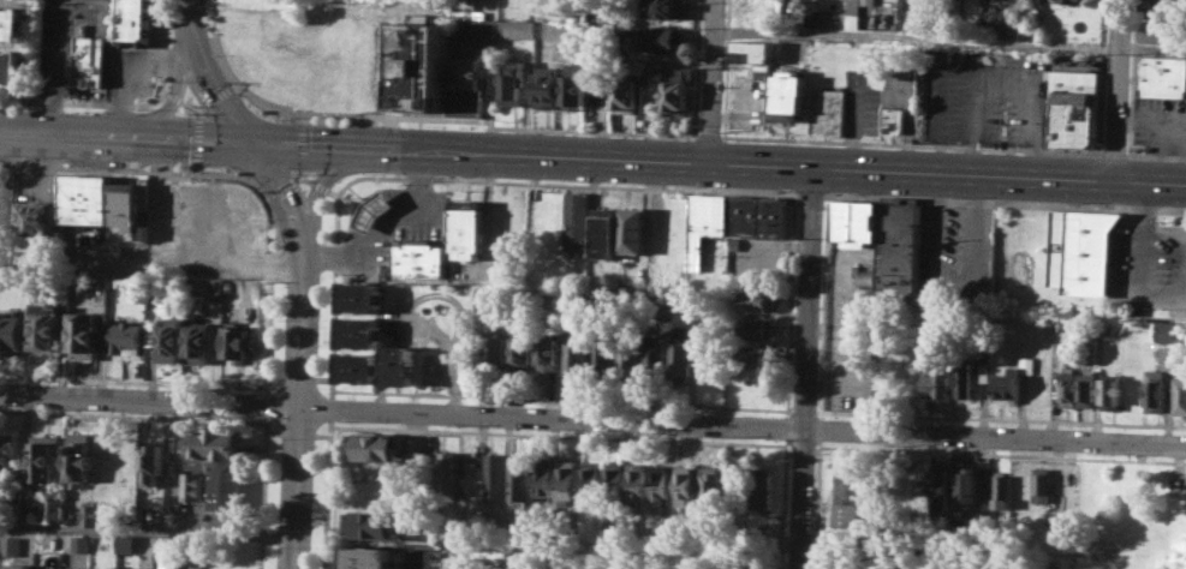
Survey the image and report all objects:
road: (88, 1)
building: (1073, 1)
building: (1035, 5)
building: (522, 7)
building: (663, 7)
building: (1160, 7)
building: (261, 8)
building: (854, 11)
building: (813, 17)
road: (189, 18)
building: (10, 22)
building: (137, 23)
building: (473, 25)
building: (982, 25)
building: (519, 29)
building: (1008, 29)
building: (558, 30)
building: (1161, 30)
road: (917, 36)
building: (661, 38)
road: (1152, 47)
building: (753, 49)
building: (93, 60)
building: (422, 65)
building: (10, 66)
road: (698, 67)
road: (726, 68)
building: (683, 71)
building: (1163, 76)
building: (512, 80)
road: (711, 80)
road: (233, 84)
building: (469, 84)
building: (574, 85)
building: (547, 86)
road: (1118, 90)
building: (626, 91)
road: (166, 94)
road: (211, 94)
road: (173, 96)
road: (217, 96)
building: (788, 96)
building: (677, 97)
road: (172, 98)
road: (130, 104)
road: (191, 106)
building: (827, 109)
building: (1073, 109)
road: (198, 113)
road: (424, 115)
road: (302, 116)
building: (893, 120)
road: (125, 134)
road: (711, 136)
road: (196, 139)
traffic signals: (252, 140)
road: (300, 145)
road: (914, 145)
road: (1115, 152)
road: (1155, 154)
road: (719, 161)
road: (196, 167)
road: (300, 172)
road: (236, 173)
road: (303, 176)
road: (464, 179)
road: (279, 185)
road: (318, 186)
road: (318, 188)
road: (284, 191)
road: (333, 192)
road: (264, 193)
road: (812, 194)
road: (1005, 203)
building: (374, 209)
gas station: (374, 209)
building: (131, 210)
building: (710, 214)
building: (757, 216)
building: (36, 217)
building: (857, 220)
building: (578, 221)
parking lot: (6, 224)
building: (467, 227)
road: (385, 229)
building: (634, 229)
building: (607, 232)
building: (900, 250)
building: (1081, 251)
parking lot: (956, 254)
building: (417, 257)
parking lot: (1152, 264)
road: (953, 291)
building: (359, 295)
building: (572, 300)
building: (758, 300)
road: (788, 300)
road: (822, 305)
building: (47, 327)
building: (757, 329)
building: (11, 331)
building: (358, 331)
building: (1164, 331)
building: (85, 335)
building: (126, 337)
parking lot: (846, 339)
building: (171, 340)
building: (236, 341)
building: (199, 343)
building: (496, 352)
building: (523, 352)
building: (577, 352)
building: (548, 353)
building: (756, 355)
building: (654, 357)
building: (628, 359)
building: (603, 360)
building: (679, 360)
building: (398, 364)
building: (357, 366)
road: (805, 366)
road: (273, 376)
road: (297, 376)
building: (960, 376)
building: (1012, 377)
road: (322, 378)
road: (131, 381)
building: (934, 382)
building: (1065, 388)
building: (1085, 389)
building: (1155, 390)
building: (1109, 393)
building: (1179, 396)
road: (559, 399)
road: (148, 400)
road: (264, 403)
road: (328, 407)
road: (297, 408)
road: (800, 408)
road: (131, 415)
road: (549, 417)
road: (999, 418)
road: (818, 427)
road: (272, 432)
road: (296, 432)
road: (318, 435)
road: (618, 437)
road: (994, 437)
road: (786, 444)
road: (800, 444)
building: (371, 445)
building: (7, 453)
road: (999, 453)
building: (78, 456)
building: (46, 457)
building: (151, 462)
building: (413, 462)
building: (219, 463)
building: (445, 474)
building: (493, 475)
building: (540, 475)
building: (517, 477)
building: (564, 478)
building: (586, 479)
building: (610, 480)
building: (634, 480)
building: (1038, 483)
building: (683, 484)
building: (709, 484)
building: (734, 484)
building: (965, 484)
building: (191, 485)
building: (657, 485)
building: (937, 485)
building: (761, 487)
building: (914, 489)
building: (999, 490)
road: (261, 491)
road: (324, 492)
building: (847, 498)
road: (815, 503)
building: (53, 507)
building: (91, 513)
building: (371, 523)
road: (145, 528)
building: (79, 543)
building: (10, 545)
building: (125, 545)
building: (366, 557)
parking lot: (417, 558)
building: (167, 561)
building: (829, 561)
building: (19, 565)
building: (47, 568)

